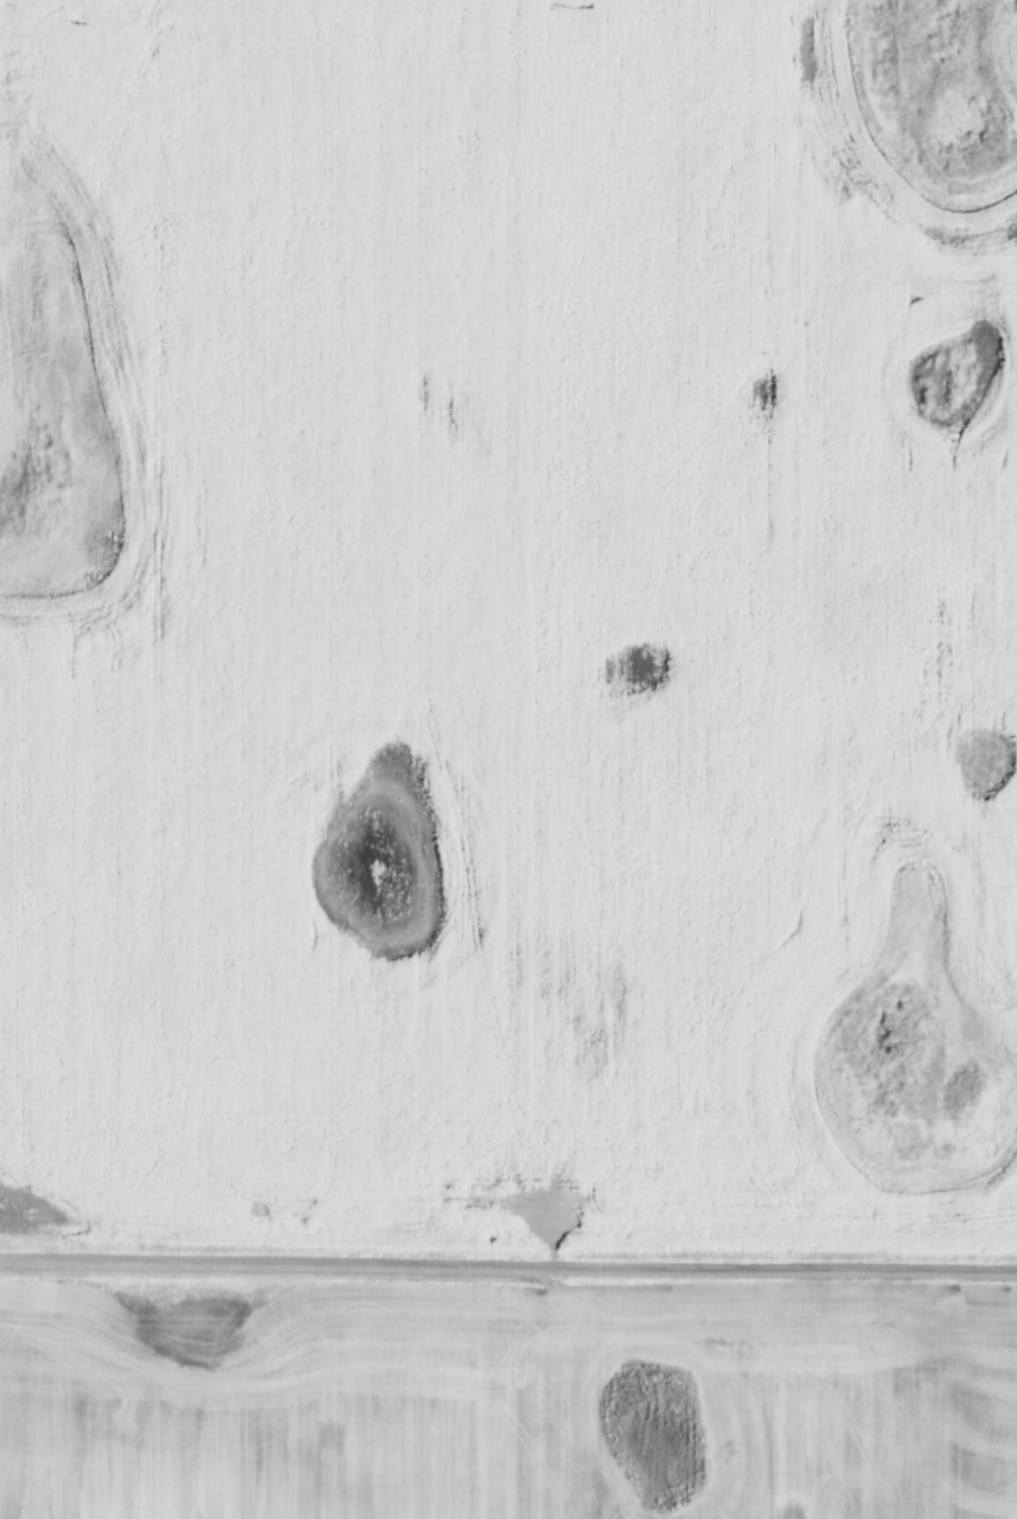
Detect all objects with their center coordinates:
road: (508, 1268)

